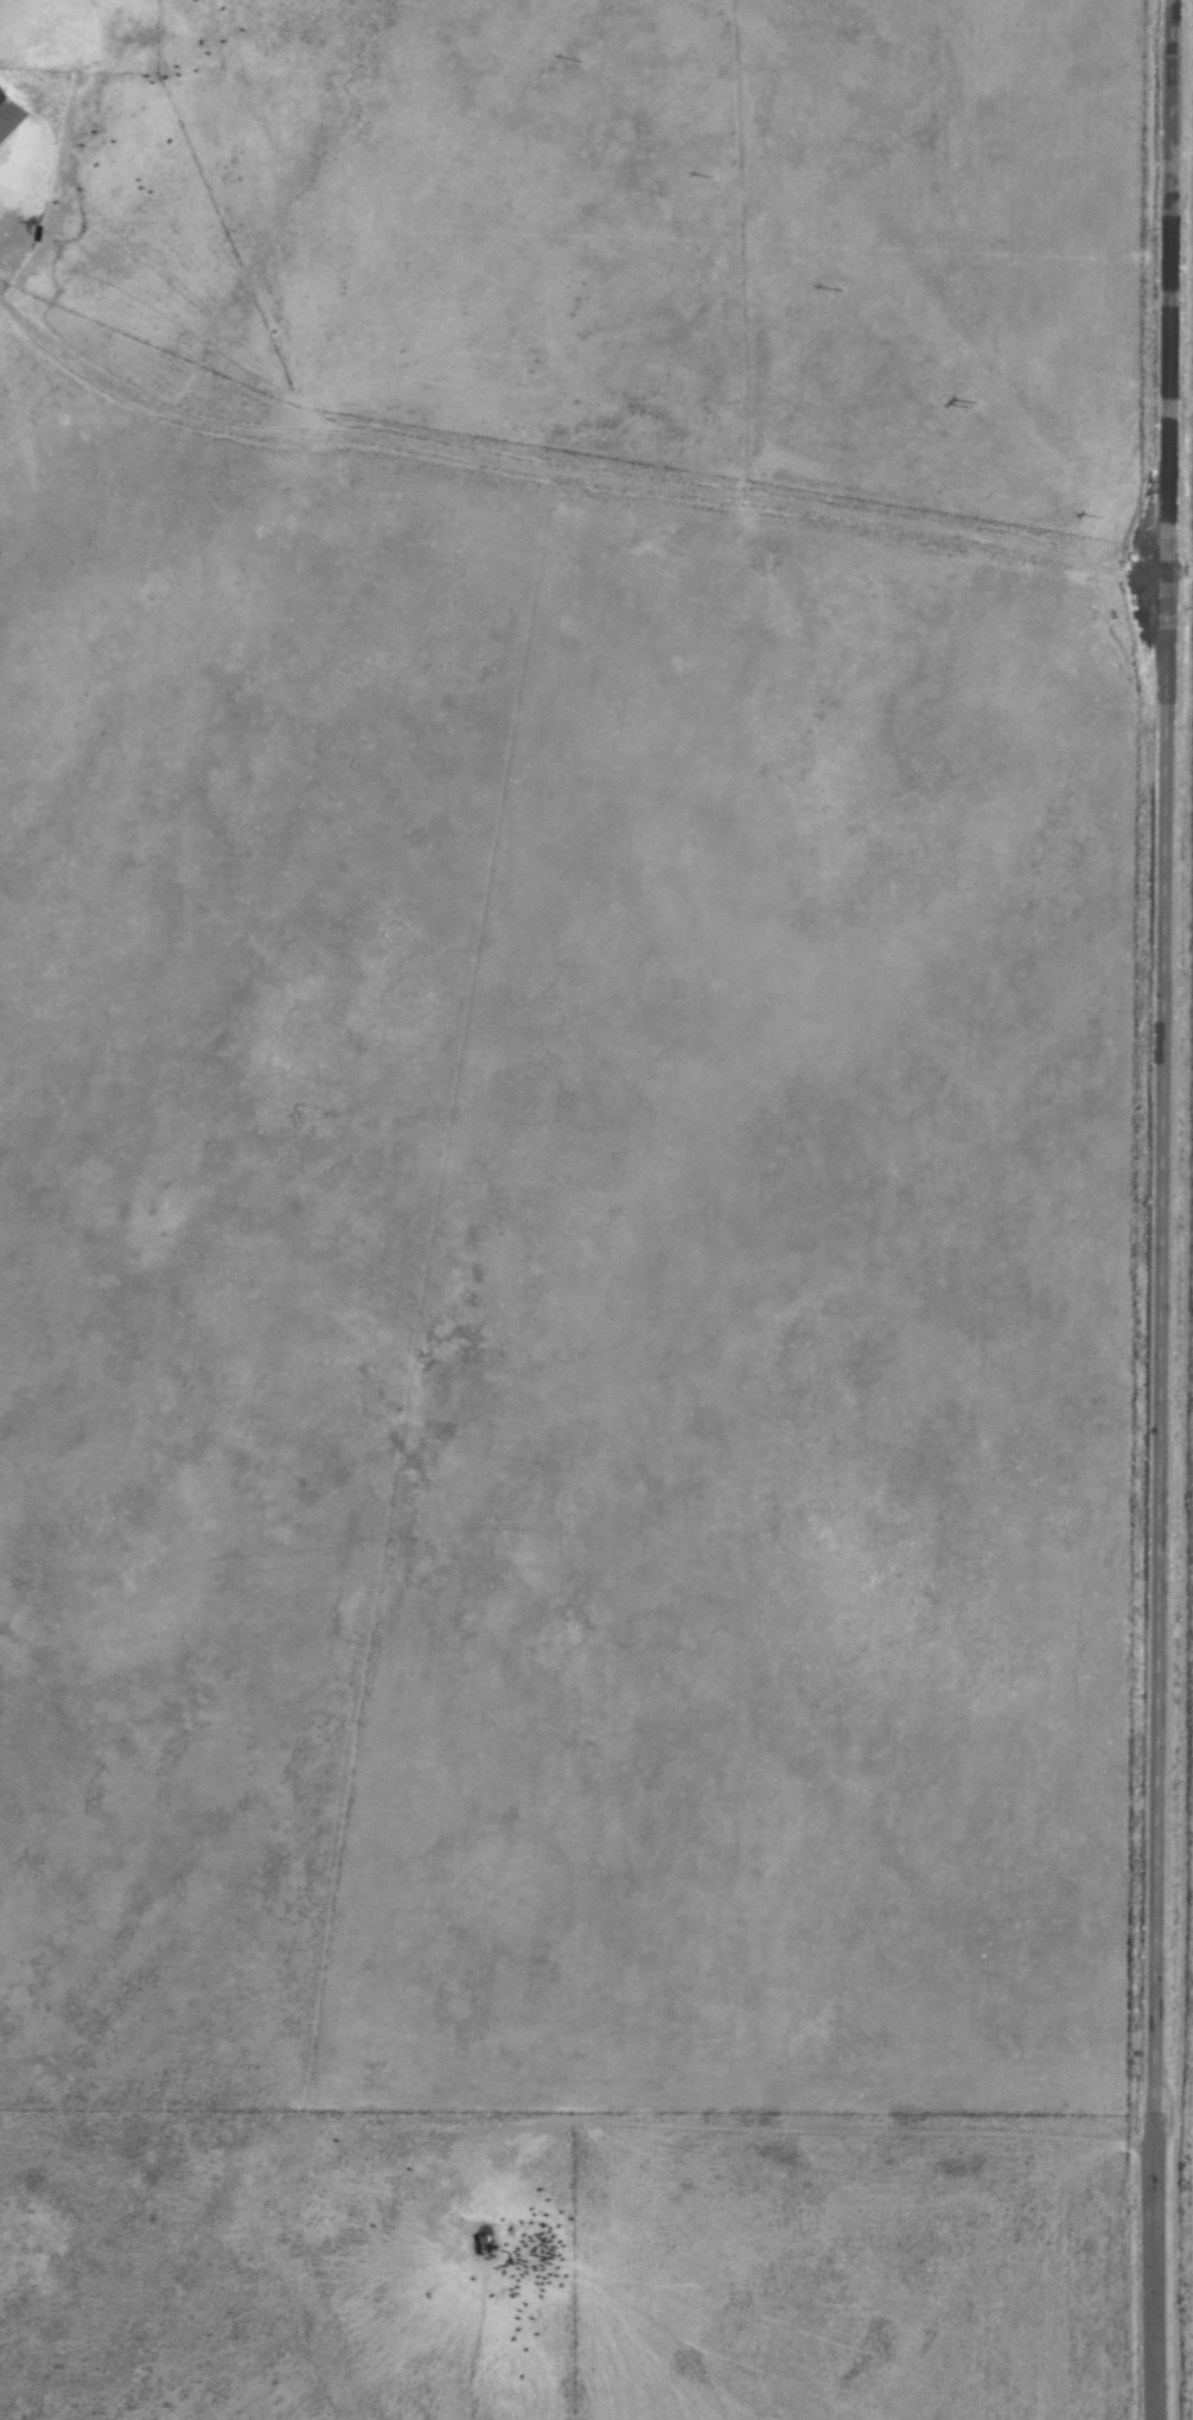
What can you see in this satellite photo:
crop: (1157, 289)
crop: (32, 292)
road: (561, 464)
road: (1178, 567)
road: (1161, 1063)
road: (1156, 2273)

